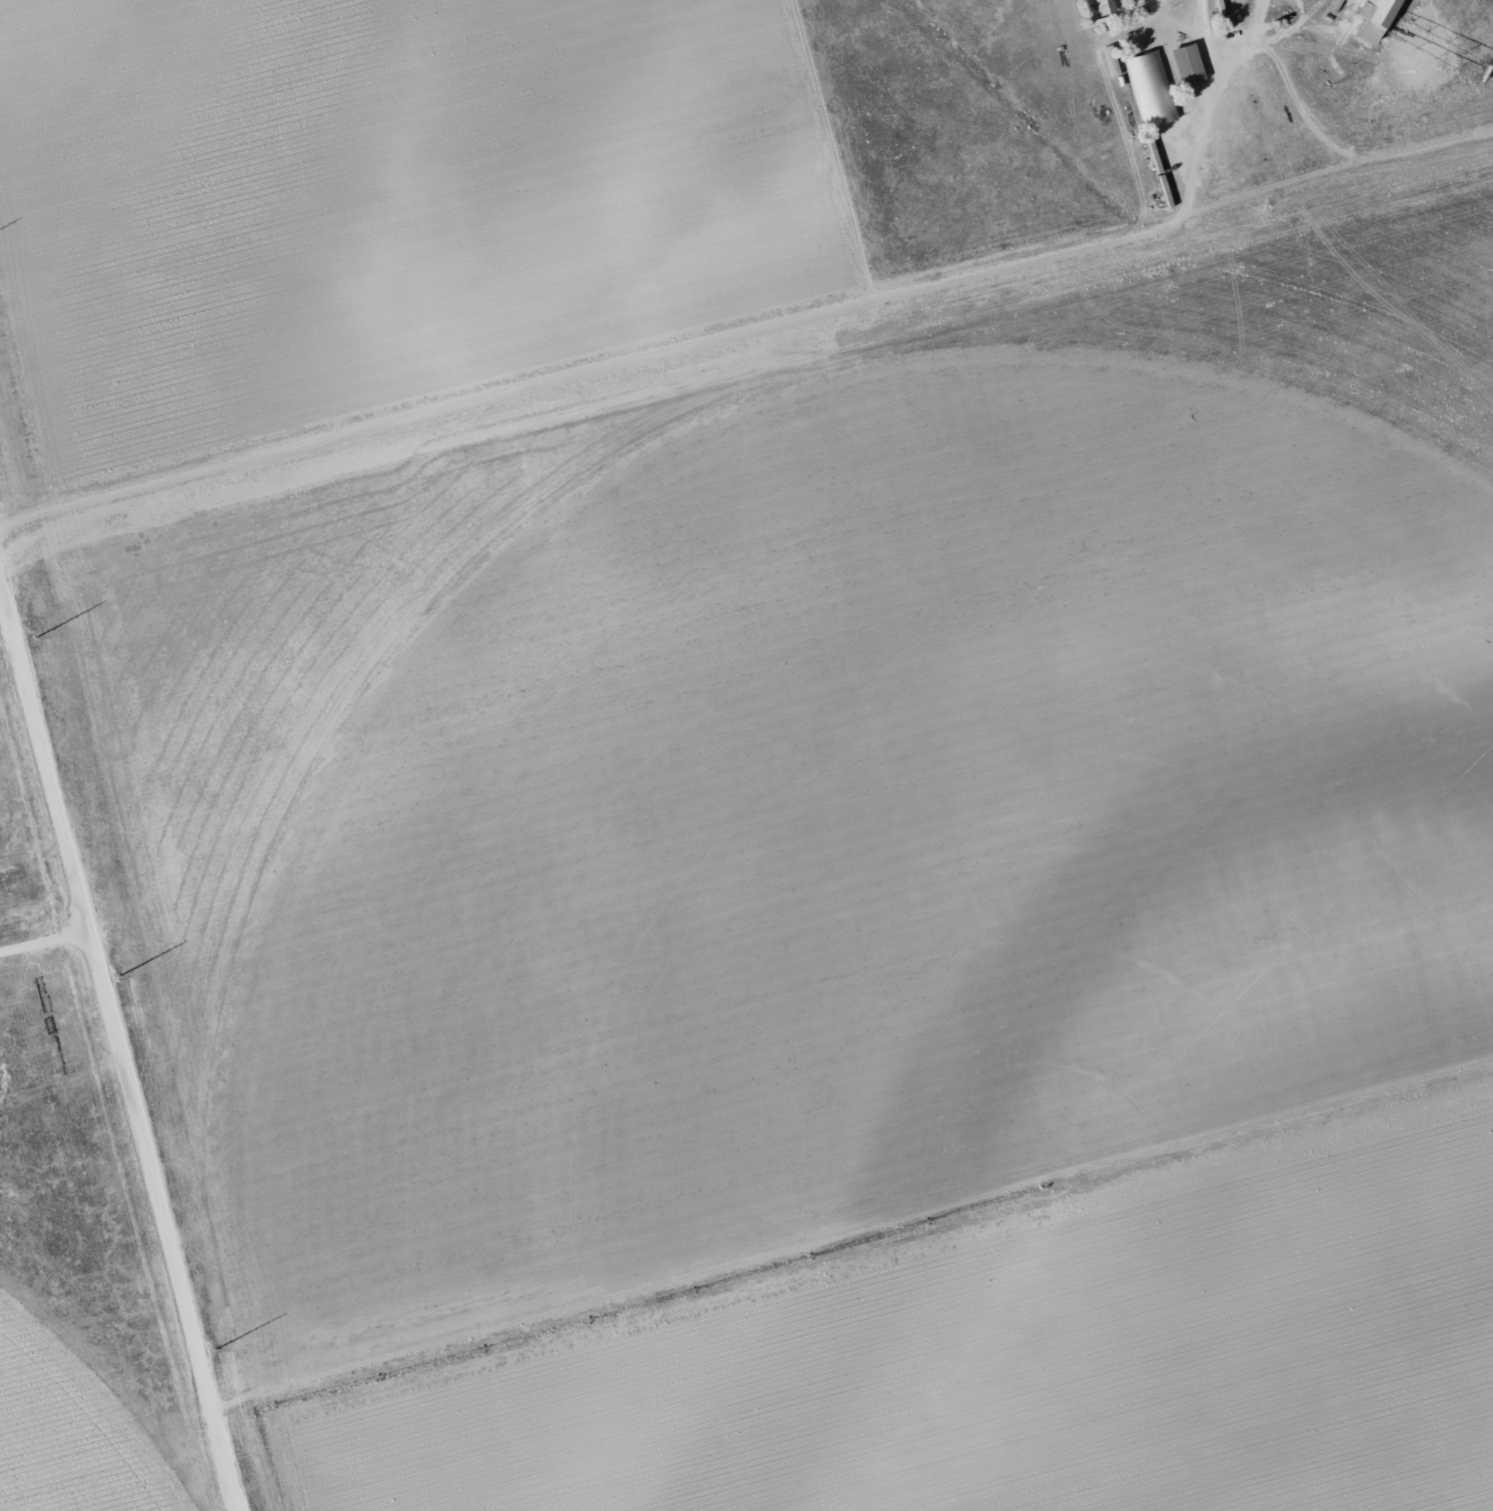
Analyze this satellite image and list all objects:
building: (1103, 6)
building: (1183, 64)
building: (1150, 87)
power tower: (28, 628)
power tower: (112, 950)
road: (119, 1054)
power tower: (192, 1271)

